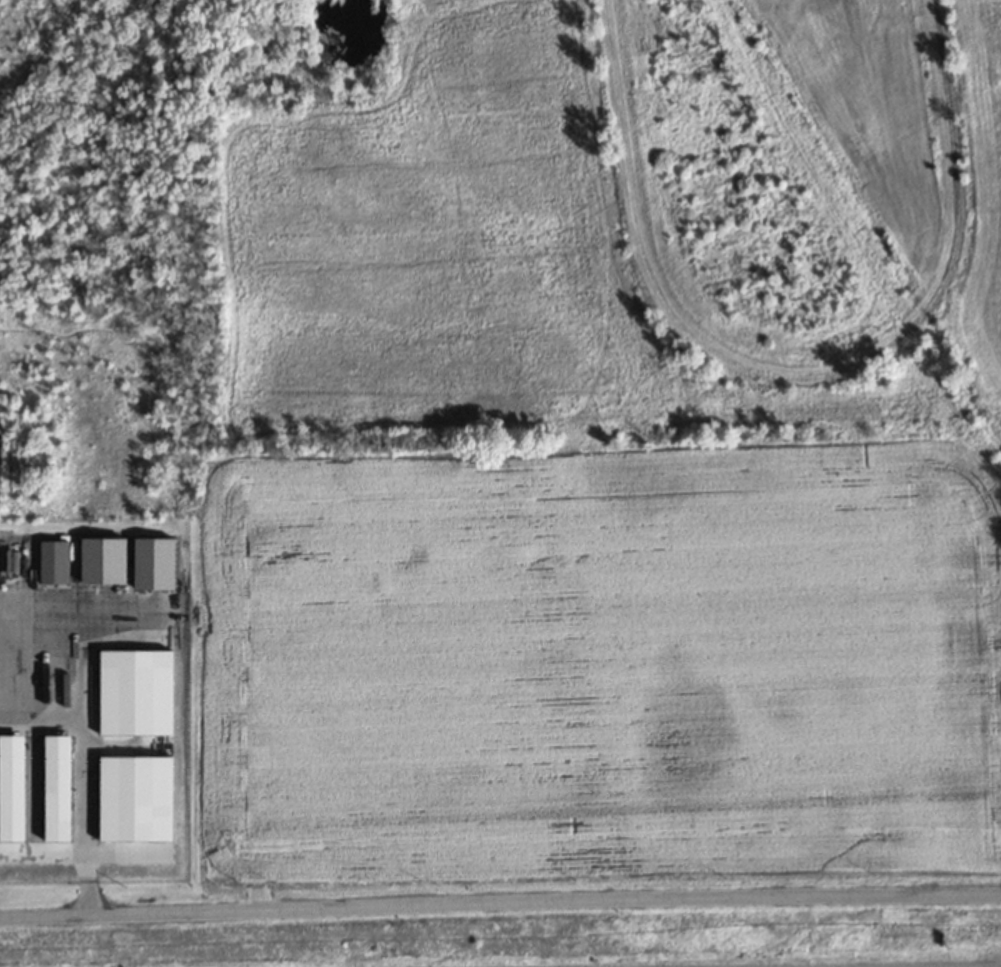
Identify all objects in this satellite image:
building: (111, 560)
building: (59, 561)
building: (162, 563)
road: (83, 775)
road: (500, 904)

